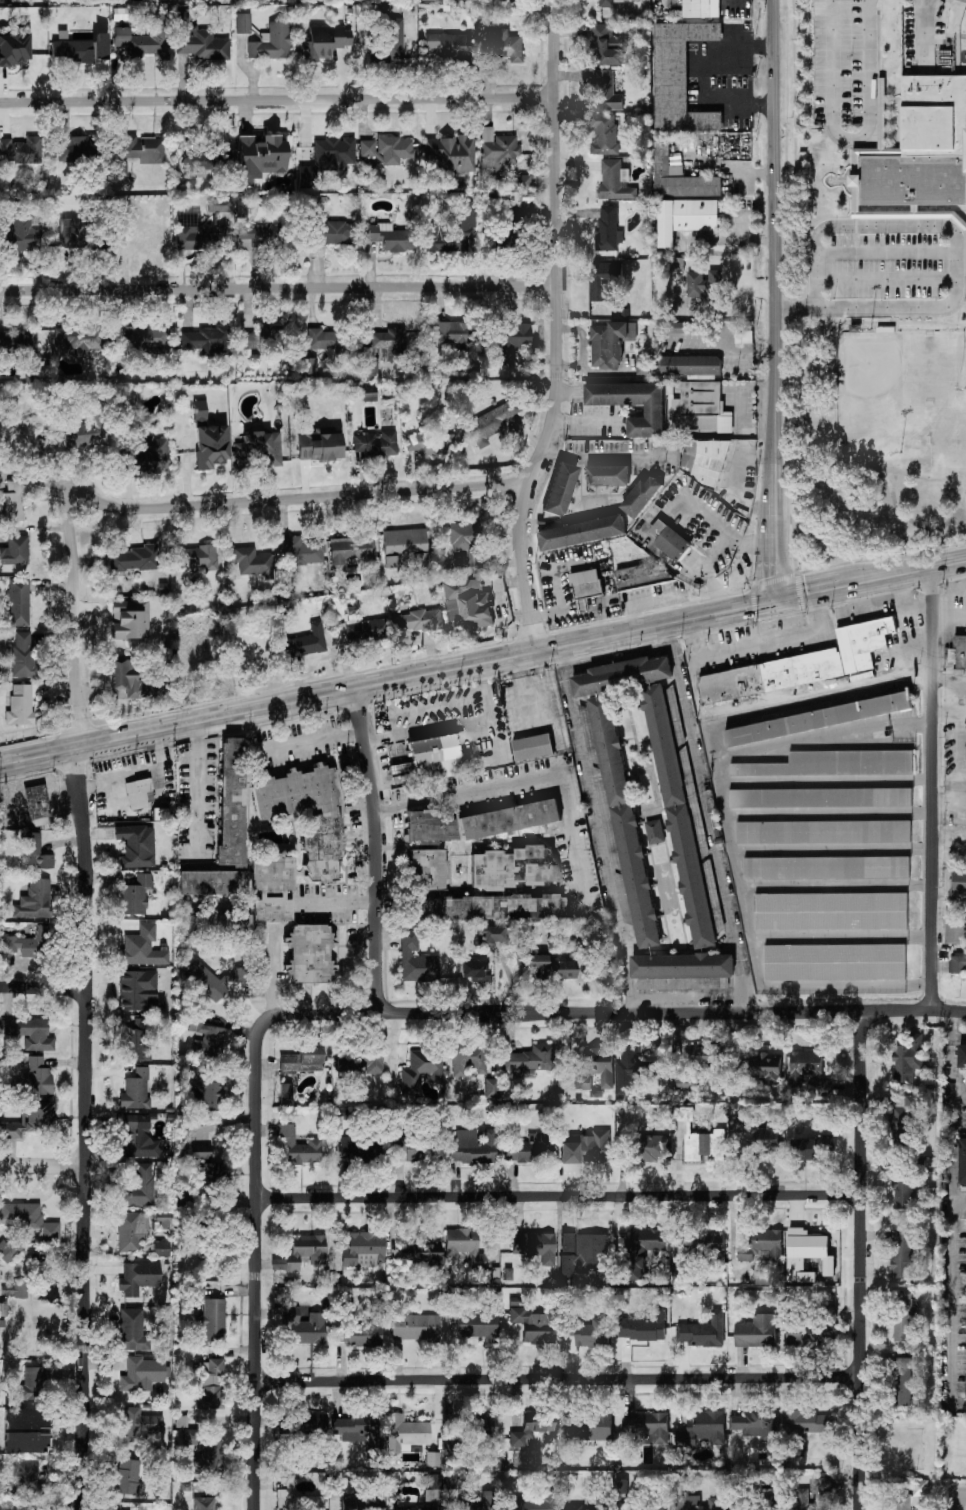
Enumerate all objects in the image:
building: (4, 1)
building: (606, 3)
building: (701, 8)
building: (243, 24)
road: (930, 32)
building: (147, 39)
building: (198, 41)
building: (393, 41)
building: (325, 42)
building: (273, 43)
building: (447, 43)
building: (503, 45)
building: (607, 45)
building: (16, 47)
building: (82, 50)
building: (679, 76)
building: (605, 91)
road: (278, 100)
building: (604, 133)
road: (852, 137)
building: (76, 149)
building: (923, 149)
building: (143, 150)
building: (396, 150)
building: (21, 151)
building: (370, 152)
building: (452, 153)
building: (334, 154)
building: (260, 158)
building: (502, 161)
building: (198, 163)
building: (858, 165)
building: (120, 170)
building: (680, 178)
building: (615, 180)
flagpole: (831, 181)
building: (220, 205)
building: (242, 209)
road: (775, 214)
building: (686, 218)
building: (608, 228)
building: (334, 233)
building: (453, 233)
building: (23, 234)
building: (75, 235)
building: (137, 238)
building: (201, 238)
building: (260, 238)
building: (389, 238)
road: (886, 252)
building: (676, 263)
road: (956, 267)
road: (869, 277)
building: (604, 280)
building: (701, 287)
road: (279, 290)
road: (938, 321)
road: (863, 324)
road: (900, 326)
building: (684, 327)
street lamp: (872, 328)
road: (557, 329)
building: (451, 334)
building: (744, 338)
building: (78, 339)
building: (147, 339)
building: (260, 339)
building: (513, 339)
building: (322, 340)
building: (19, 341)
building: (206, 341)
building: (609, 342)
building: (383, 350)
building: (693, 365)
building: (308, 366)
building: (643, 369)
park: (892, 386)
street lamp: (965, 388)
building: (370, 395)
building: (632, 404)
building: (701, 407)
road: (584, 419)
building: (490, 424)
building: (82, 431)
building: (376, 444)
building: (431, 444)
building: (210, 445)
building: (320, 446)
building: (259, 451)
street lamp: (902, 453)
road: (604, 456)
building: (148, 457)
building: (704, 460)
building: (607, 475)
road: (777, 478)
building: (561, 489)
building: (642, 496)
road: (284, 500)
building: (13, 503)
road: (897, 505)
building: (582, 532)
building: (669, 540)
building: (404, 546)
building: (467, 547)
building: (351, 549)
building: (15, 551)
building: (301, 551)
building: (196, 558)
building: (134, 559)
building: (253, 563)
road: (774, 566)
building: (642, 576)
building: (586, 584)
road: (950, 588)
building: (471, 602)
building: (19, 603)
traffic signals: (773, 604)
building: (453, 609)
road: (950, 619)
building: (421, 621)
road: (74, 622)
building: (130, 623)
building: (367, 631)
building: (308, 642)
building: (863, 642)
road: (760, 643)
building: (960, 650)
building: (22, 656)
road: (482, 664)
building: (622, 675)
building: (770, 676)
road: (950, 678)
building: (125, 680)
road: (523, 704)
building: (21, 706)
road: (950, 711)
road: (449, 719)
building: (818, 719)
road: (712, 740)
road: (316, 745)
building: (533, 747)
building: (436, 758)
building: (833, 763)
road: (827, 780)
road: (524, 783)
road: (197, 786)
road: (934, 789)
building: (138, 793)
building: (820, 797)
building: (37, 802)
road: (830, 811)
building: (679, 816)
building: (511, 819)
road: (714, 819)
building: (625, 822)
building: (326, 823)
building: (431, 827)
road: (596, 830)
building: (226, 831)
building: (655, 831)
building: (823, 831)
building: (137, 846)
road: (834, 848)
building: (34, 852)
road: (378, 852)
building: (514, 867)
building: (826, 867)
building: (427, 870)
building: (959, 882)
road: (838, 886)
building: (272, 887)
building: (136, 895)
building: (34, 901)
road: (341, 904)
building: (494, 908)
building: (831, 911)
building: (221, 925)
building: (491, 935)
road: (842, 937)
building: (956, 941)
building: (30, 944)
building: (143, 948)
building: (310, 954)
road: (755, 954)
building: (416, 960)
building: (834, 962)
building: (537, 963)
building: (682, 966)
building: (563, 970)
building: (475, 971)
road: (272, 975)
road: (44, 990)
building: (140, 992)
road: (618, 1012)
building: (29, 1033)
building: (206, 1037)
building: (139, 1041)
building: (707, 1056)
building: (908, 1058)
building: (303, 1060)
building: (468, 1060)
building: (529, 1060)
building: (361, 1063)
building: (805, 1065)
building: (596, 1068)
building: (759, 1068)
building: (632, 1069)
building: (422, 1071)
building: (37, 1078)
building: (492, 1088)
road: (959, 1089)
building: (203, 1090)
building: (136, 1091)
building: (286, 1094)
building: (903, 1117)
building: (30, 1120)
road: (87, 1129)
building: (759, 1132)
building: (137, 1139)
building: (701, 1139)
building: (816, 1146)
building: (300, 1147)
building: (651, 1147)
building: (473, 1148)
building: (586, 1148)
building: (406, 1150)
building: (530, 1150)
building: (358, 1151)
building: (200, 1153)
building: (962, 1161)
road: (43, 1166)
building: (207, 1172)
building: (139, 1188)
building: (903, 1192)
road: (561, 1196)
road: (958, 1204)
road: (949, 1215)
building: (165, 1220)
building: (30, 1223)
building: (133, 1231)
building: (464, 1245)
building: (763, 1245)
building: (535, 1246)
building: (706, 1248)
building: (162, 1249)
building: (9, 1250)
building: (364, 1250)
building: (643, 1250)
building: (303, 1253)
building: (420, 1253)
building: (585, 1253)
building: (901, 1253)
building: (807, 1254)
road: (861, 1260)
road: (259, 1262)
building: (138, 1278)
building: (16, 1290)
building: (903, 1317)
building: (212, 1321)
building: (479, 1324)
building: (644, 1326)
building: (415, 1327)
building: (533, 1327)
building: (133, 1331)
building: (703, 1331)
building: (757, 1331)
building: (811, 1332)
building: (143, 1374)
road: (560, 1379)
building: (903, 1381)
building: (34, 1385)
building: (211, 1386)
building: (807, 1422)
building: (140, 1424)
building: (756, 1425)
building: (649, 1426)
building: (309, 1427)
building: (480, 1428)
building: (593, 1428)
building: (350, 1429)
building: (703, 1429)
building: (30, 1434)
building: (406, 1434)
building: (532, 1434)
building: (191, 1437)
building: (209, 1458)
building: (433, 1460)
building: (25, 1477)
building: (128, 1477)
building: (825, 1485)
building: (621, 1487)
building: (433, 1489)
building: (920, 1489)
road: (960, 1494)
building: (803, 1495)
building: (298, 1501)
building: (536, 1501)
building: (767, 1501)
building: (478, 1502)
building: (901, 1502)
building: (695, 1503)
building: (205, 1504)
building: (658, 1506)
building: (572, 1507)
building: (19, 1508)
building: (362, 1508)
building: (421, 1508)

